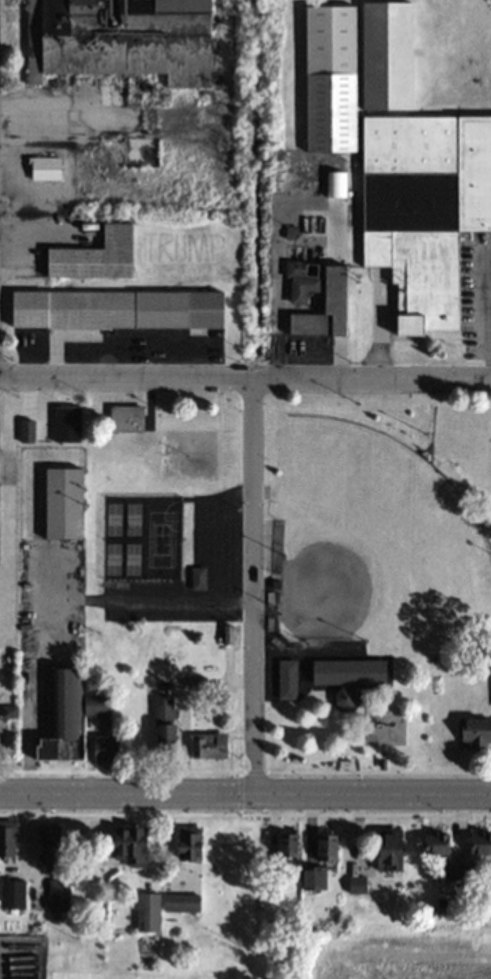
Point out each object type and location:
building: (128, 40)
building: (355, 69)
building: (45, 167)
building: (424, 210)
road: (33, 232)
building: (96, 256)
building: (302, 280)
building: (118, 309)
building: (326, 309)
road: (489, 316)
road: (245, 380)
building: (126, 418)
building: (67, 424)
park: (465, 451)
building: (64, 503)
park: (375, 542)
park: (370, 568)
road: (252, 583)
road: (53, 594)
building: (348, 677)
building: (286, 680)
building: (97, 705)
building: (63, 717)
building: (164, 726)
building: (476, 733)
building: (209, 746)
building: (107, 751)
road: (245, 787)
building: (7, 841)
building: (190, 842)
building: (480, 842)
building: (50, 843)
building: (437, 843)
building: (289, 844)
building: (131, 845)
building: (328, 847)
building: (390, 847)
building: (459, 870)
building: (13, 894)
building: (58, 895)
building: (181, 902)
building: (148, 912)

